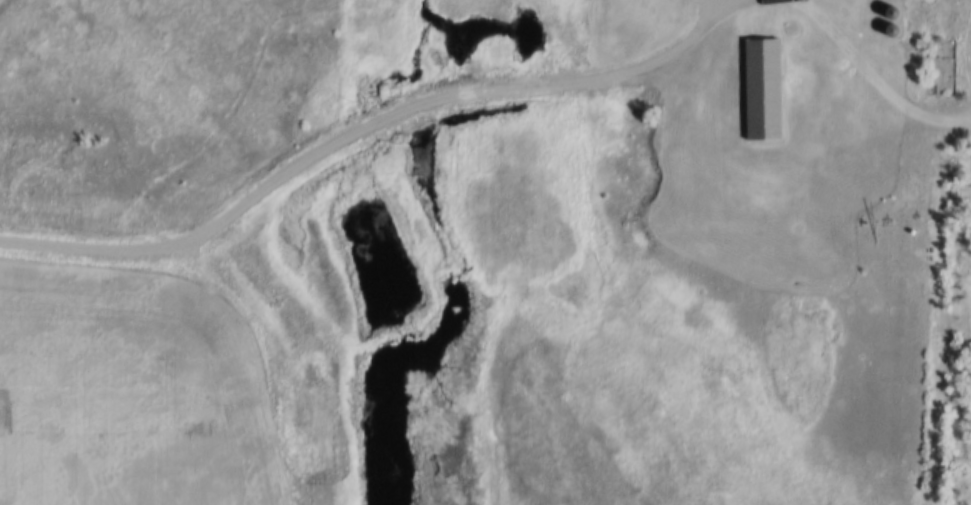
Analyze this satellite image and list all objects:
building: (881, 17)
silo: (881, 17)
building: (882, 34)
silo: (882, 34)
building: (939, 69)
building: (758, 92)
road: (369, 130)
road: (233, 374)

